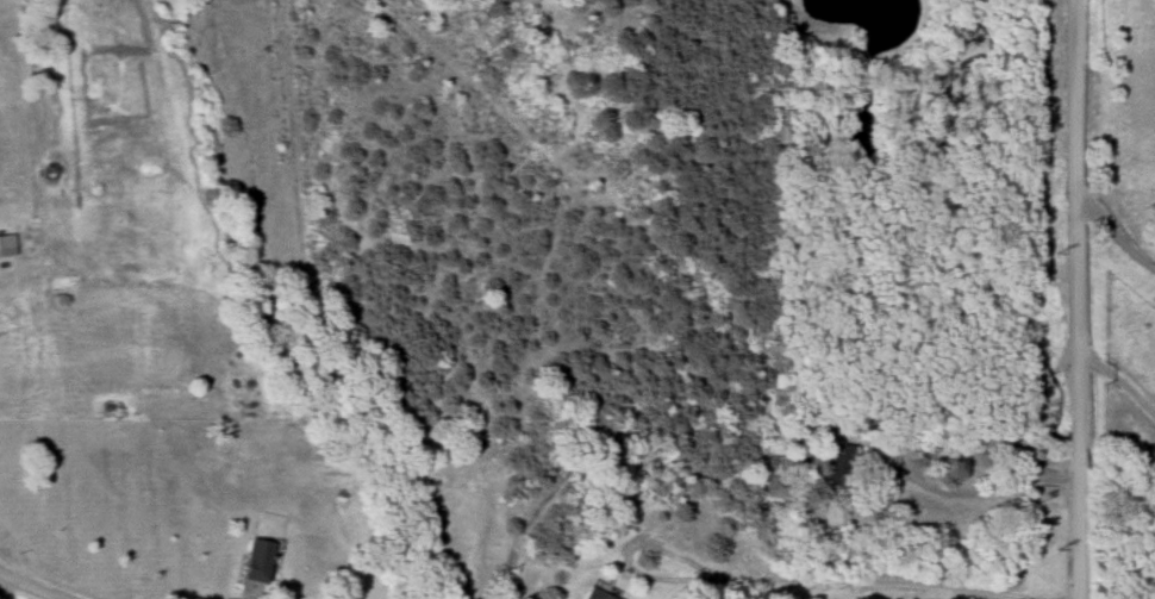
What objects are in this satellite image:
road: (1112, 229)
building: (6, 245)
road: (1075, 299)
road: (1118, 381)
road: (929, 455)
building: (836, 466)
road: (1062, 474)
road: (625, 555)
building: (252, 560)
road: (891, 581)
road: (8, 584)
road: (37, 585)

